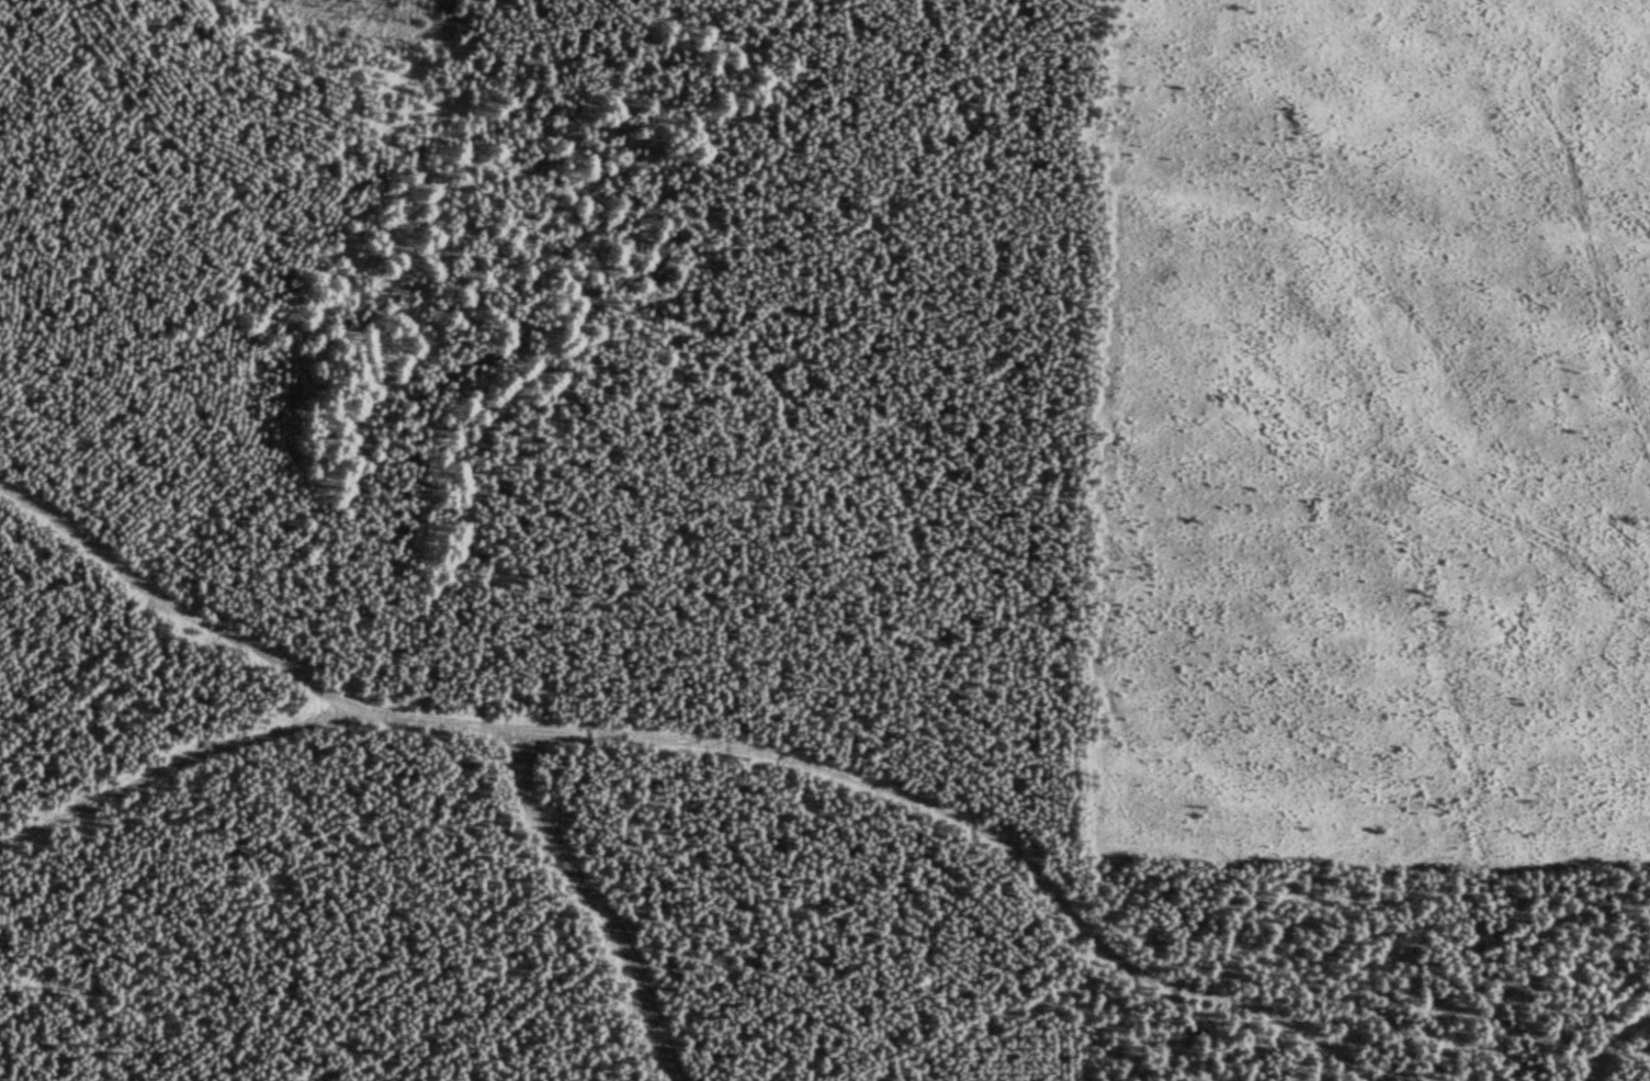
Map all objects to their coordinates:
road: (178, 607)
road: (179, 763)
road: (884, 855)
road: (621, 951)

